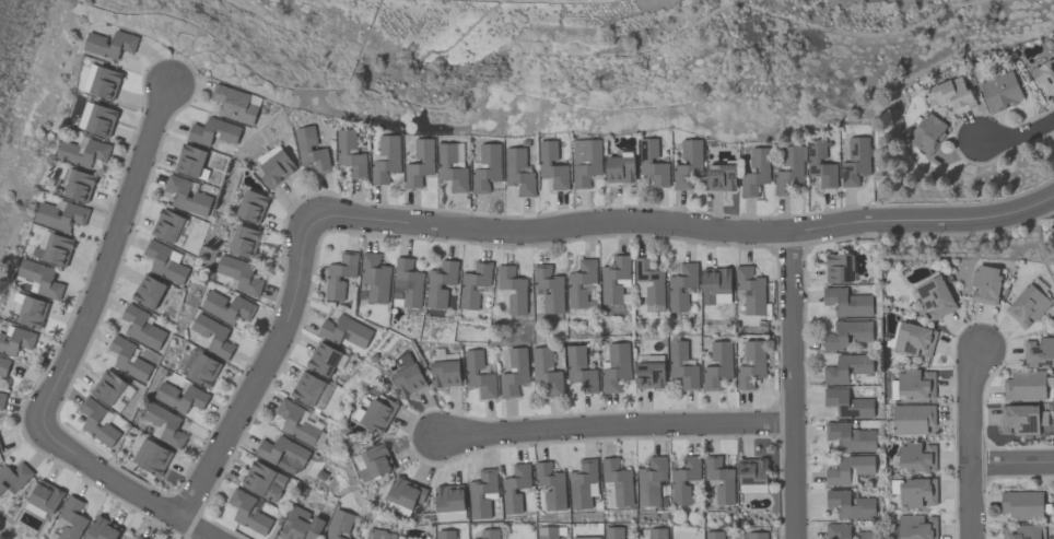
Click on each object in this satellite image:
park: (10, 45)
building: (109, 46)
building: (1045, 74)
building: (105, 83)
building: (1002, 90)
building: (955, 93)
building: (234, 104)
building: (101, 120)
building: (213, 131)
building: (928, 132)
road: (1014, 134)
building: (304, 149)
building: (342, 151)
building: (83, 152)
building: (190, 160)
building: (386, 160)
building: (586, 160)
building: (856, 160)
building: (428, 161)
building: (654, 161)
building: (689, 162)
building: (553, 163)
building: (821, 163)
building: (444, 165)
building: (487, 167)
building: (622, 167)
building: (276, 168)
building: (789, 169)
building: (519, 171)
building: (757, 171)
building: (723, 175)
building: (75, 185)
building: (187, 196)
building: (251, 206)
building: (61, 215)
building: (167, 225)
road: (523, 233)
building: (244, 241)
building: (57, 249)
road: (105, 253)
building: (165, 262)
building: (840, 267)
building: (239, 273)
building: (339, 274)
building: (40, 278)
building: (374, 278)
building: (614, 279)
building: (715, 281)
building: (658, 282)
building: (407, 283)
building: (986, 283)
building: (433, 284)
building: (574, 284)
building: (467, 285)
building: (681, 286)
building: (550, 289)
building: (520, 290)
building: (758, 290)
building: (149, 292)
building: (936, 295)
building: (848, 302)
building: (1029, 303)
building: (227, 307)
building: (32, 312)
building: (142, 328)
building: (346, 331)
building: (213, 336)
building: (835, 337)
building: (915, 338)
building: (16, 341)
building: (1040, 351)
building: (124, 358)
building: (323, 359)
building: (760, 361)
building: (3, 364)
building: (683, 364)
building: (718, 364)
building: (617, 366)
building: (582, 367)
building: (846, 367)
building: (203, 370)
building: (547, 370)
building: (516, 371)
building: (446, 373)
building: (652, 373)
building: (479, 374)
building: (408, 376)
building: (916, 383)
building: (1026, 385)
building: (108, 387)
road: (794, 387)
building: (307, 388)
building: (180, 397)
building: (2, 400)
building: (847, 402)
building: (378, 414)
building: (913, 418)
building: (1021, 418)
building: (92, 421)
building: (295, 422)
building: (165, 424)
road: (617, 430)
building: (851, 436)
road: (971, 443)
building: (0, 449)
building: (268, 455)
building: (917, 456)
building: (151, 457)
road: (1012, 461)
building: (376, 462)
building: (753, 469)
building: (838, 471)
building: (14, 476)
building: (651, 480)
building: (683, 480)
building: (263, 481)
building: (619, 481)
building: (728, 481)
building: (583, 482)
road: (116, 483)
building: (558, 487)
building: (508, 489)
building: (918, 490)
building: (406, 493)
building: (481, 494)
building: (46, 496)
building: (449, 497)
building: (851, 504)
building: (1023, 504)
building: (248, 511)
building: (72, 519)
building: (301, 525)
building: (339, 525)
building: (917, 526)
building: (102, 529)
building: (549, 531)
building: (845, 531)
building: (1023, 531)
building: (614, 532)
building: (658, 532)
building: (489, 534)
building: (379, 535)
building: (446, 535)
building: (715, 535)
building: (758, 535)
building: (139, 537)

